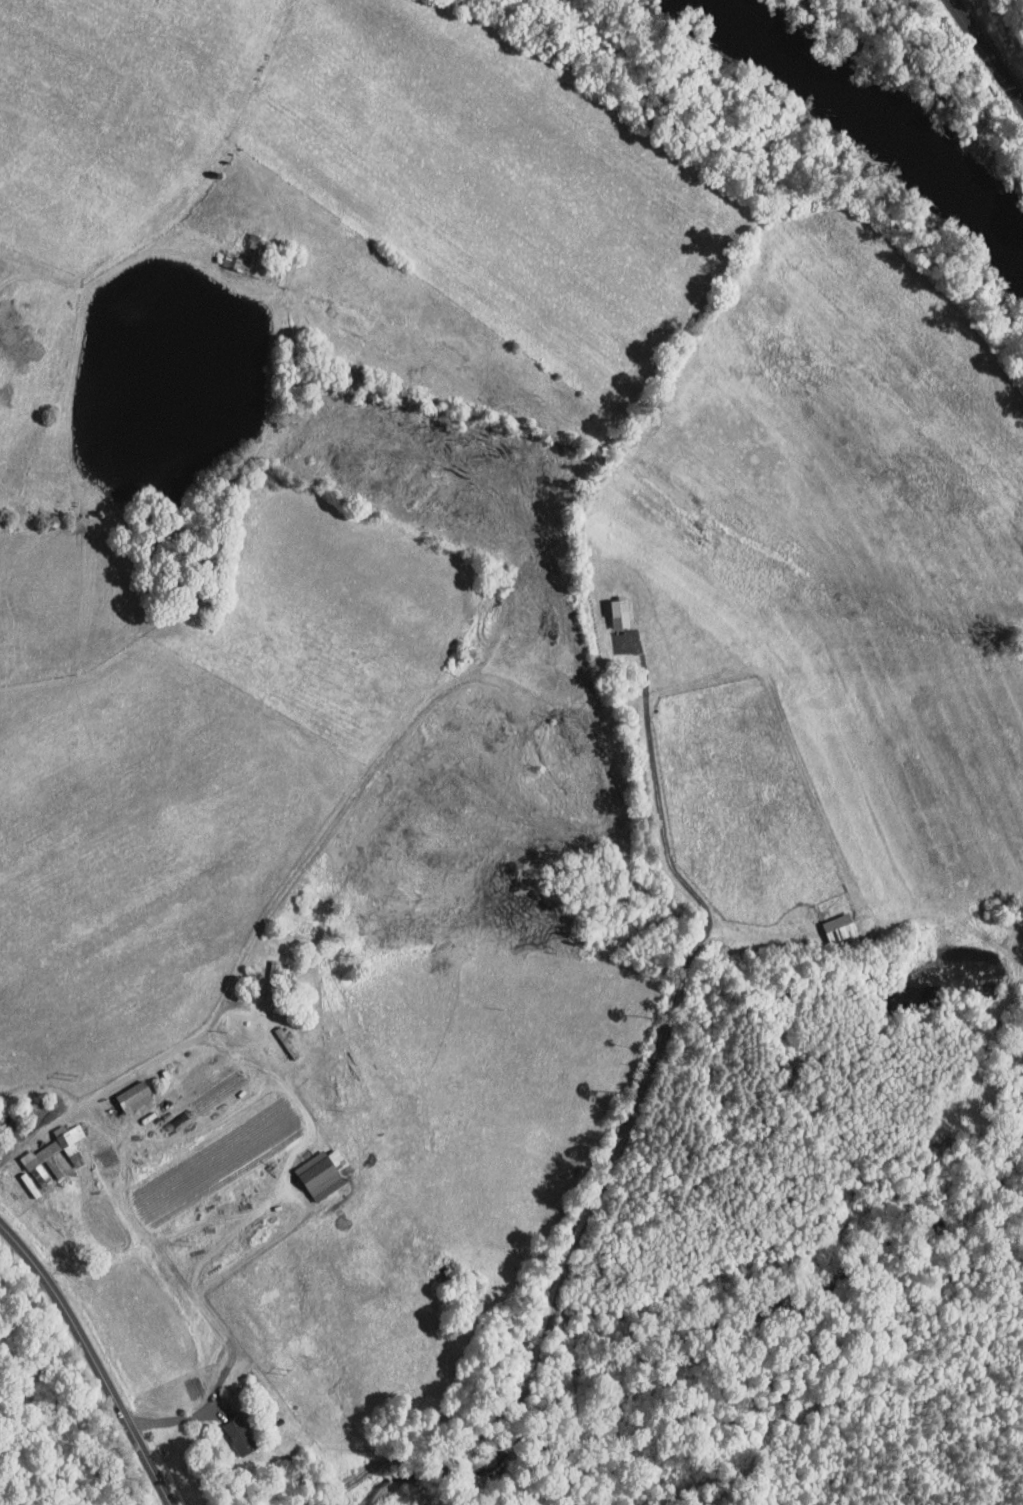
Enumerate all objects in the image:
railway: (988, 51)
river: (880, 116)
building: (231, 257)
building: (610, 606)
building: (829, 921)
road: (167, 1052)
building: (124, 1090)
road: (617, 1130)
building: (41, 1145)
building: (327, 1152)
building: (309, 1169)
road: (20, 1306)
road: (94, 1361)
road: (173, 1421)
building: (229, 1430)

